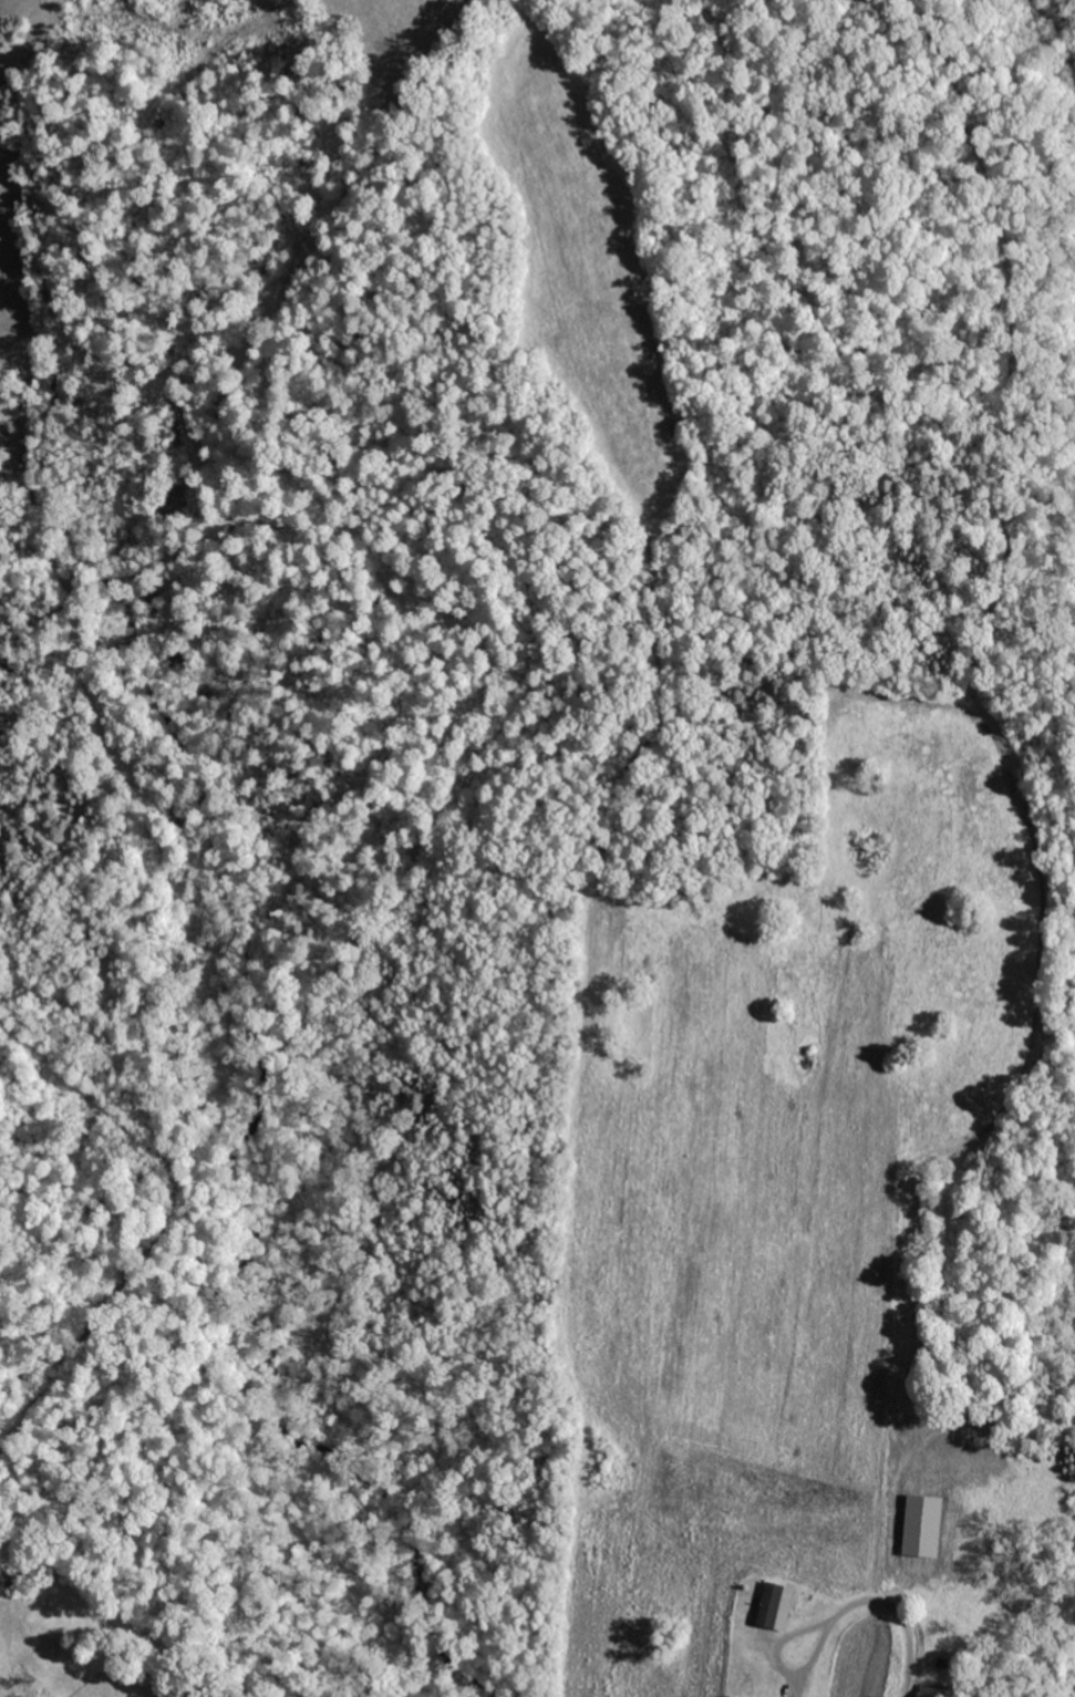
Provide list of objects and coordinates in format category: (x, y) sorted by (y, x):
building: (778, 1606)
building: (932, 1695)

